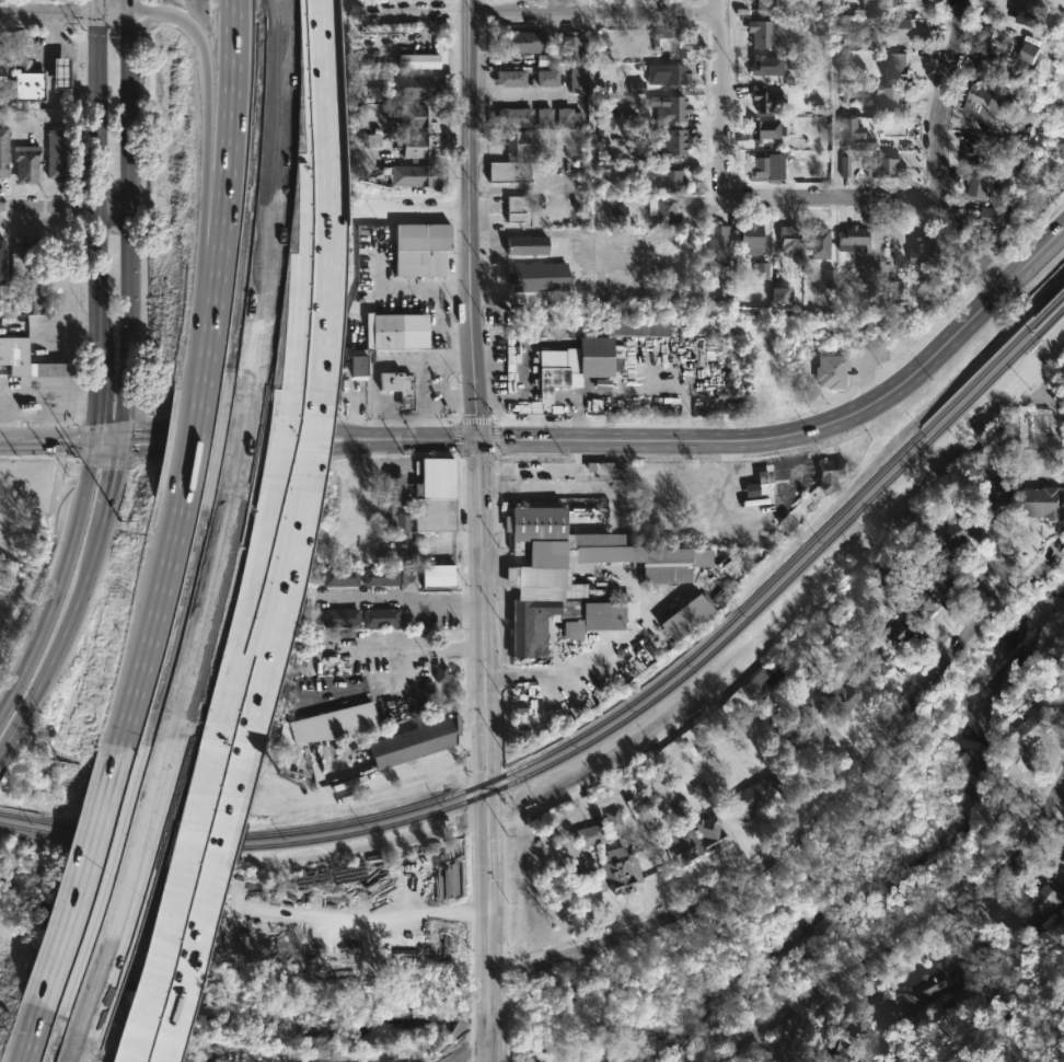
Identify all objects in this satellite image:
building: (899, 2)
building: (763, 3)
road: (34, 7)
road: (589, 8)
building: (866, 9)
road: (111, 12)
road: (47, 13)
road: (316, 14)
road: (317, 14)
building: (1029, 14)
road: (593, 16)
road: (419, 18)
building: (909, 28)
building: (860, 31)
building: (762, 34)
building: (522, 43)
building: (671, 44)
building: (570, 47)
road: (34, 49)
road: (72, 49)
building: (1030, 53)
building: (993, 56)
building: (3, 57)
building: (543, 60)
building: (417, 61)
building: (767, 65)
building: (897, 66)
building: (61, 70)
gas station: (61, 70)
road: (74, 72)
building: (673, 74)
road: (49, 77)
building: (546, 78)
building: (510, 79)
building: (577, 79)
building: (27, 86)
building: (410, 86)
building: (373, 93)
road: (527, 93)
building: (4, 97)
road: (833, 97)
building: (888, 97)
road: (722, 99)
building: (768, 99)
building: (988, 104)
building: (668, 109)
road: (590, 115)
building: (415, 116)
building: (513, 117)
building: (543, 117)
building: (568, 118)
road: (93, 130)
building: (761, 130)
building: (853, 135)
building: (670, 143)
building: (416, 147)
road: (936, 149)
building: (979, 149)
building: (4, 152)
building: (55, 152)
building: (516, 158)
building: (26, 162)
building: (886, 164)
building: (767, 165)
building: (844, 166)
building: (412, 176)
building: (673, 178)
building: (981, 183)
road: (206, 189)
road: (305, 194)
road: (833, 196)
road: (324, 205)
road: (63, 206)
building: (517, 209)
building: (662, 209)
road: (415, 212)
road: (128, 213)
building: (616, 213)
road: (469, 220)
building: (1002, 220)
building: (817, 236)
road: (1052, 236)
building: (753, 238)
building: (855, 238)
building: (791, 239)
building: (527, 245)
building: (719, 246)
building: (34, 249)
building: (2, 250)
building: (421, 250)
building: (925, 251)
building: (761, 270)
building: (537, 277)
road: (401, 288)
building: (893, 289)
building: (730, 292)
building: (778, 296)
road: (99, 303)
railway: (1049, 309)
railway: (1050, 323)
building: (637, 327)
building: (395, 332)
road: (73, 353)
building: (14, 355)
building: (356, 363)
road: (425, 365)
building: (831, 367)
building: (49, 368)
building: (552, 380)
building: (397, 388)
gas station: (397, 388)
road: (97, 393)
road: (48, 396)
road: (374, 403)
road: (427, 403)
road: (451, 403)
road: (66, 418)
traffic signals: (120, 428)
road: (161, 428)
road: (289, 430)
road: (107, 434)
road: (791, 435)
road: (118, 439)
road: (47, 440)
traffic signals: (94, 440)
road: (426, 440)
traffic signals: (478, 441)
road: (184, 442)
road: (308, 447)
road: (290, 448)
traffic signals: (116, 451)
road: (234, 452)
road: (58, 464)
building: (832, 473)
building: (762, 475)
road: (72, 482)
building: (1002, 486)
road: (108, 488)
building: (393, 490)
building: (435, 494)
building: (1046, 500)
building: (802, 506)
building: (394, 521)
building: (962, 530)
building: (550, 531)
road: (41, 549)
building: (666, 556)
road: (504, 561)
road: (545, 561)
building: (438, 575)
building: (339, 576)
building: (380, 576)
road: (58, 578)
building: (942, 578)
building: (547, 579)
building: (406, 582)
building: (865, 587)
building: (2, 589)
road: (404, 600)
road: (4, 602)
building: (923, 604)
road: (4, 611)
building: (380, 616)
building: (842, 616)
building: (340, 617)
building: (683, 617)
road: (274, 625)
building: (905, 632)
road: (147, 634)
road: (254, 637)
building: (520, 638)
road: (58, 639)
road: (613, 643)
building: (876, 660)
building: (440, 673)
road: (406, 681)
building: (755, 682)
building: (427, 688)
building: (841, 696)
building: (518, 707)
building: (805, 724)
building: (326, 725)
building: (1030, 727)
railway: (586, 730)
building: (413, 742)
railway: (586, 742)
road: (488, 751)
building: (699, 790)
building: (752, 795)
building: (612, 819)
building: (710, 831)
road: (785, 834)
building: (589, 835)
building: (682, 845)
building: (1062, 861)
building: (620, 869)
road: (201, 899)
building: (1037, 903)
road: (77, 908)
road: (182, 910)
road: (906, 944)
building: (974, 967)
building: (930, 985)
building: (155, 1013)
building: (882, 1013)
building: (863, 1030)
road: (789, 1036)
building: (842, 1052)
road: (141, 1057)
road: (37, 1058)

